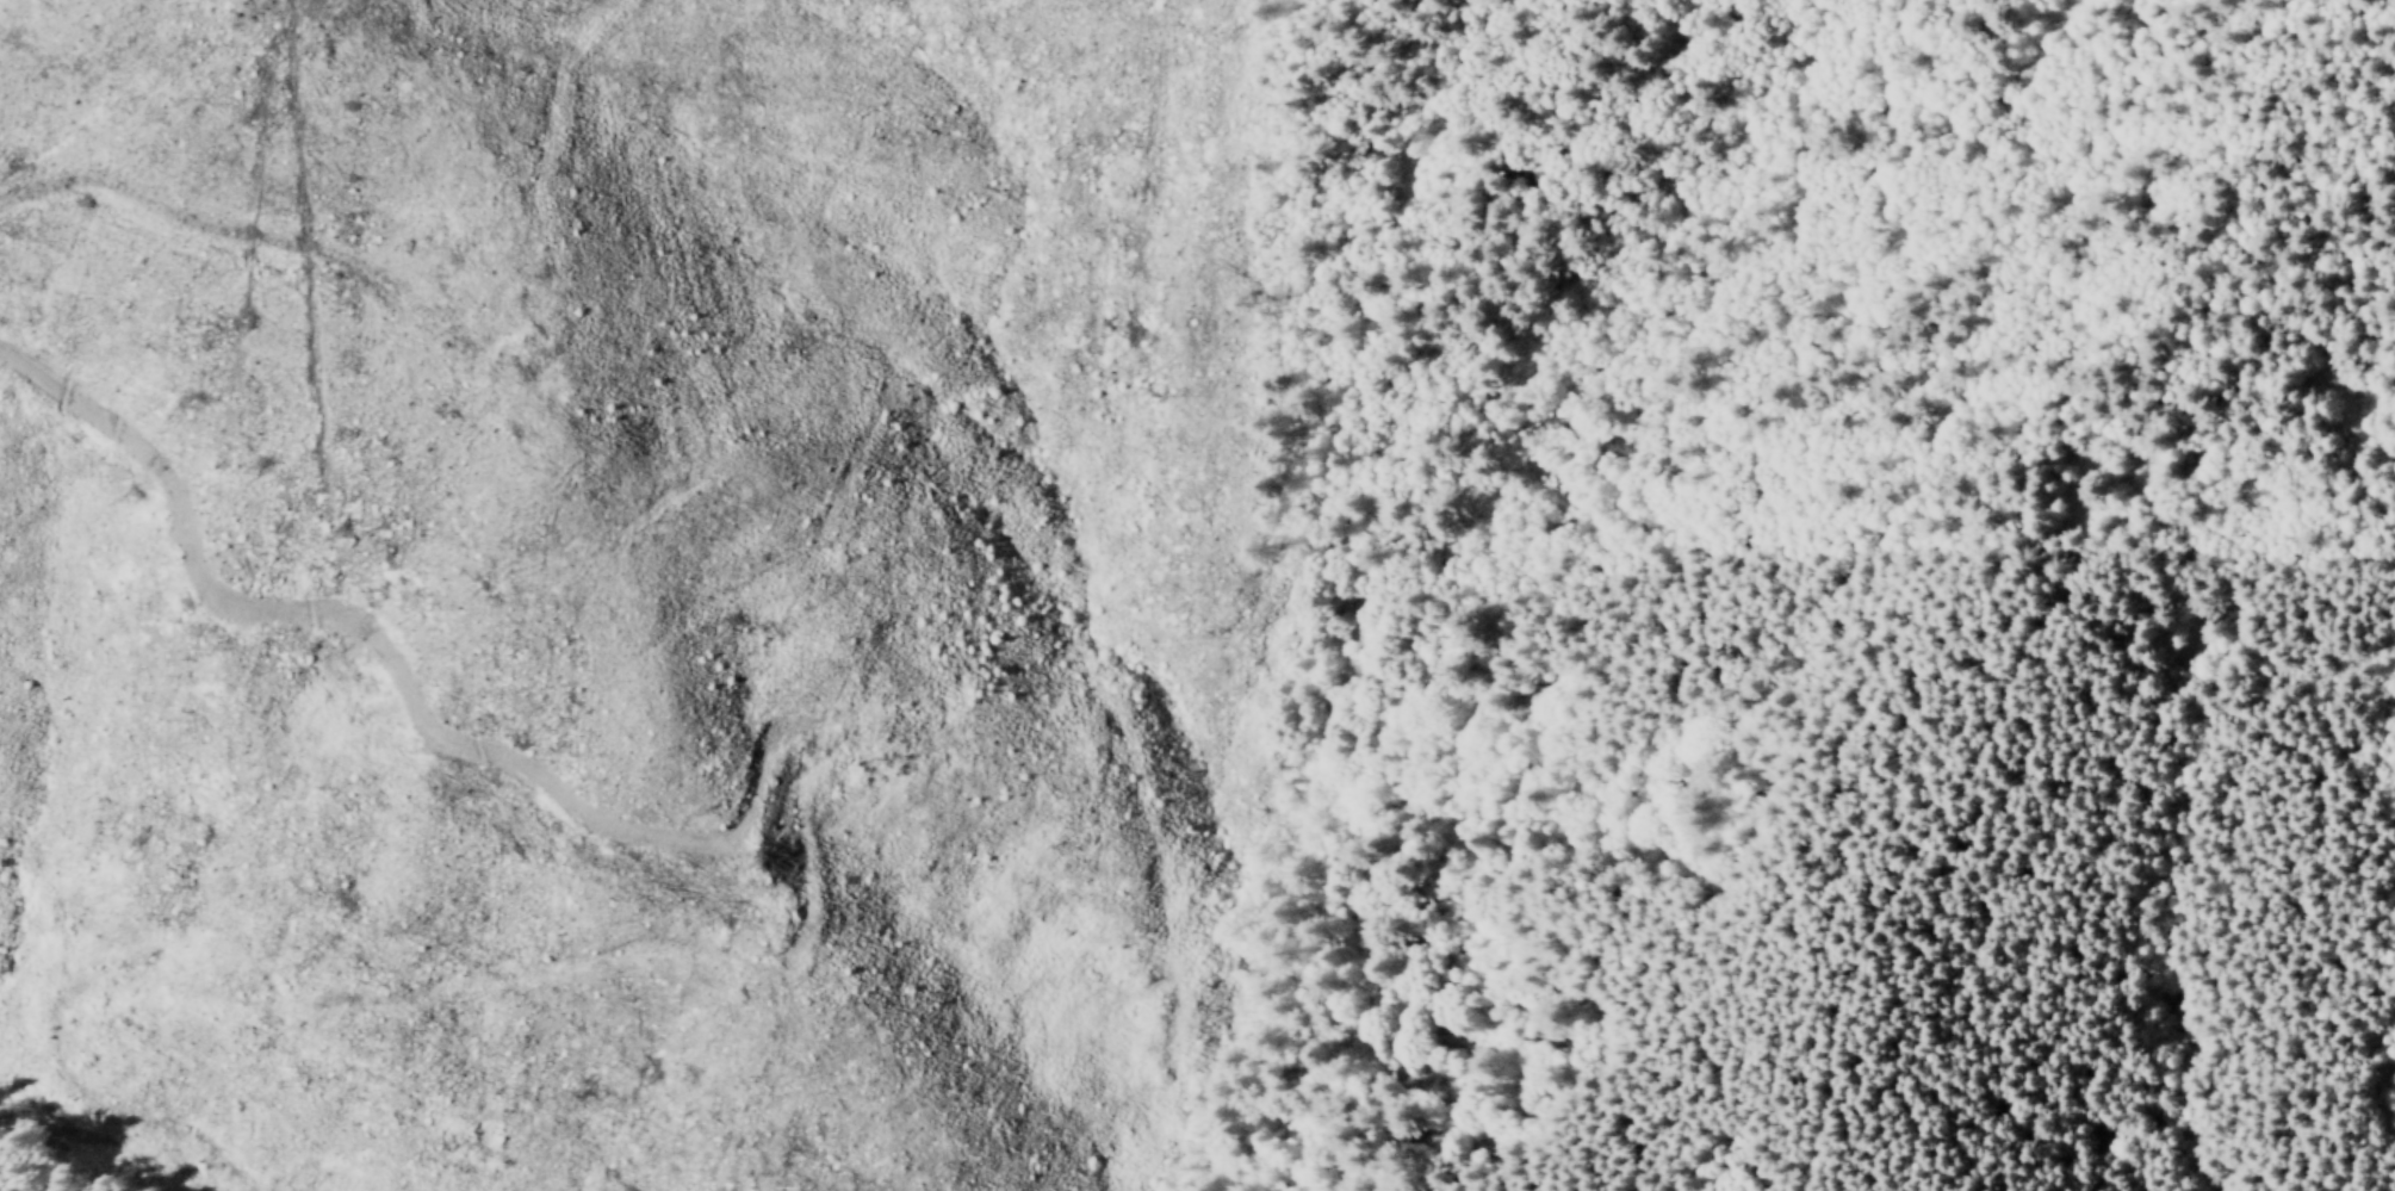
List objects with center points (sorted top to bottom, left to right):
road: (1979, 763)
road: (820, 869)
road: (46, 1153)

